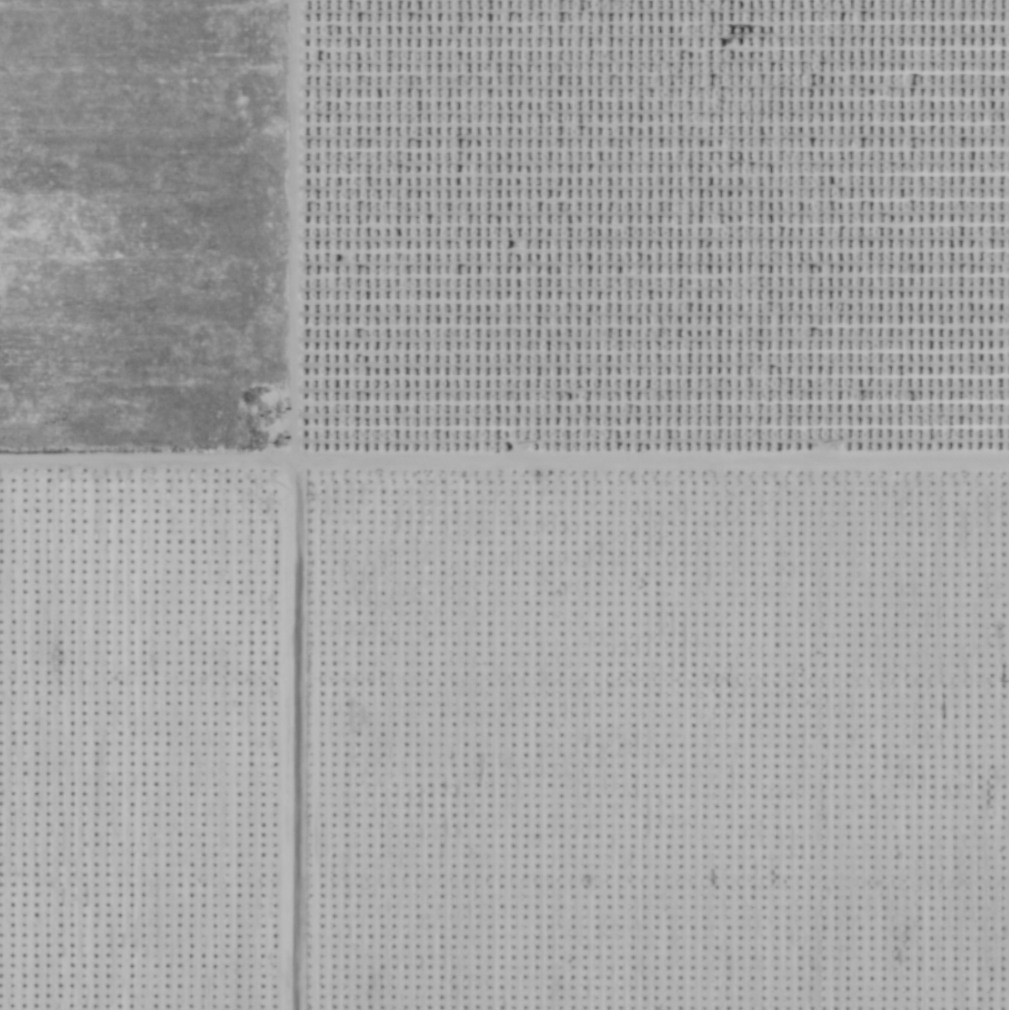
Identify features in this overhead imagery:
crop: (140, 225)
road: (504, 463)
road: (286, 504)

